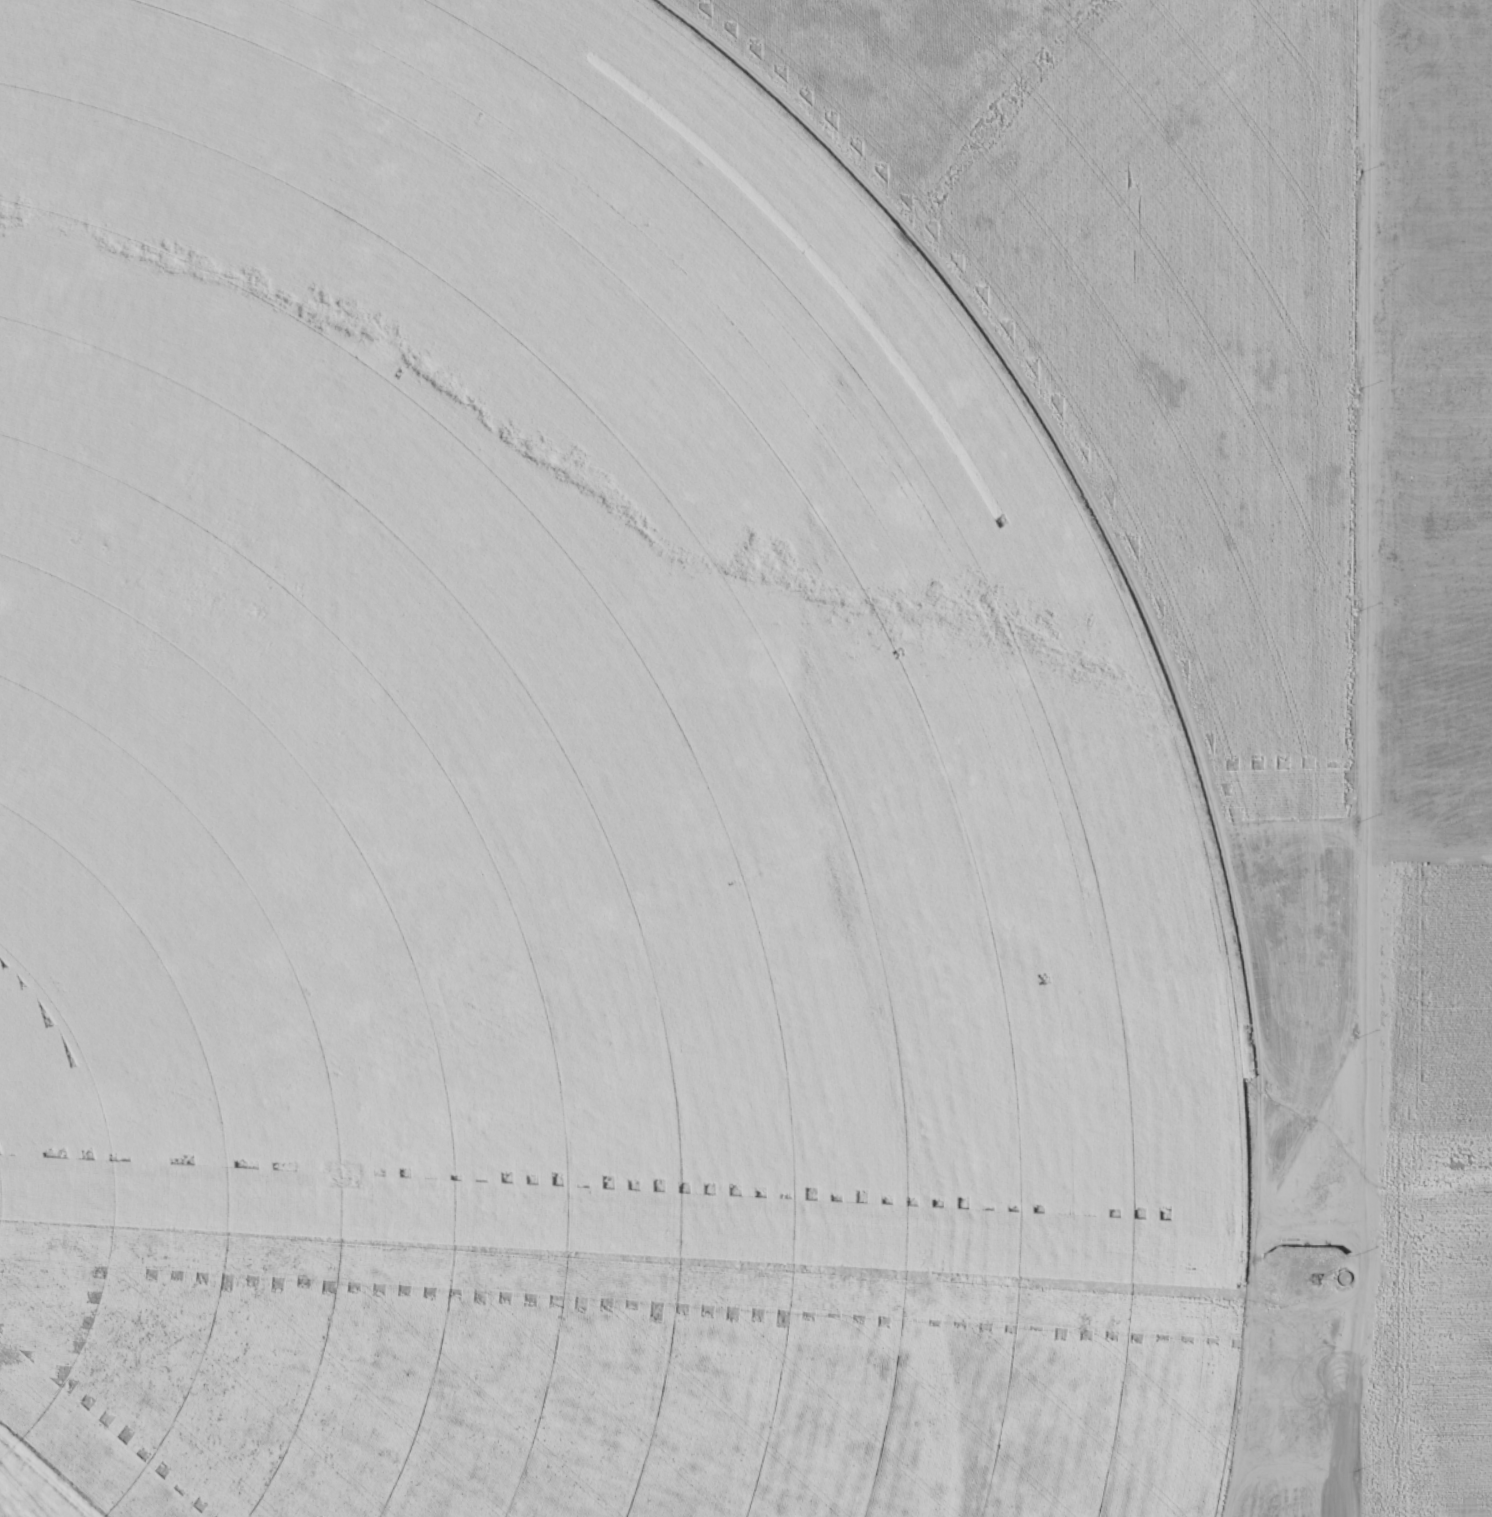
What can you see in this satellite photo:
road: (1362, 1476)

